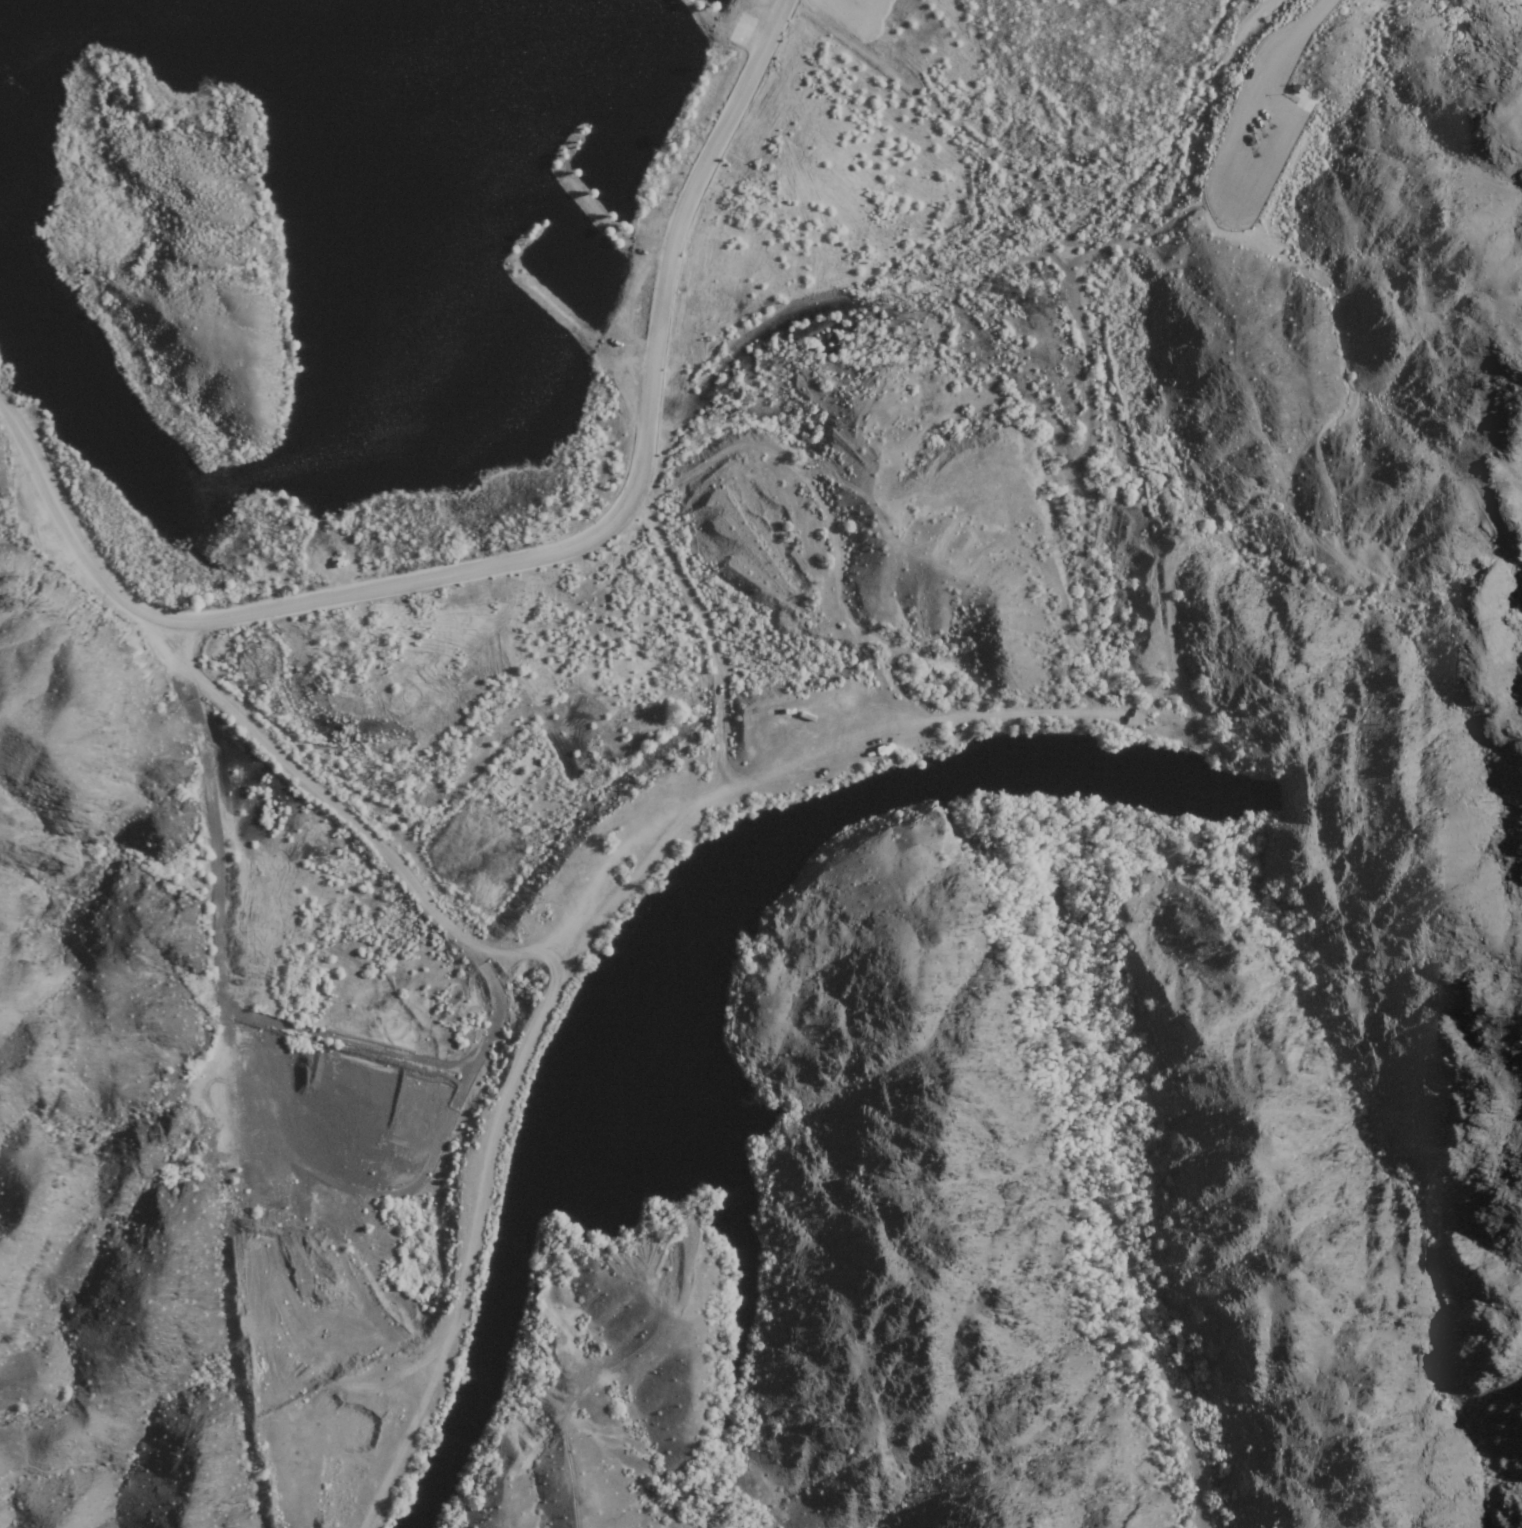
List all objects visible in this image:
road: (1311, 14)
parking lot: (1261, 129)
road: (682, 210)
road: (778, 456)
road: (559, 551)
road: (403, 583)
road: (145, 612)
road: (337, 811)
river: (1395, 822)
river: (681, 953)
road: (488, 1132)

